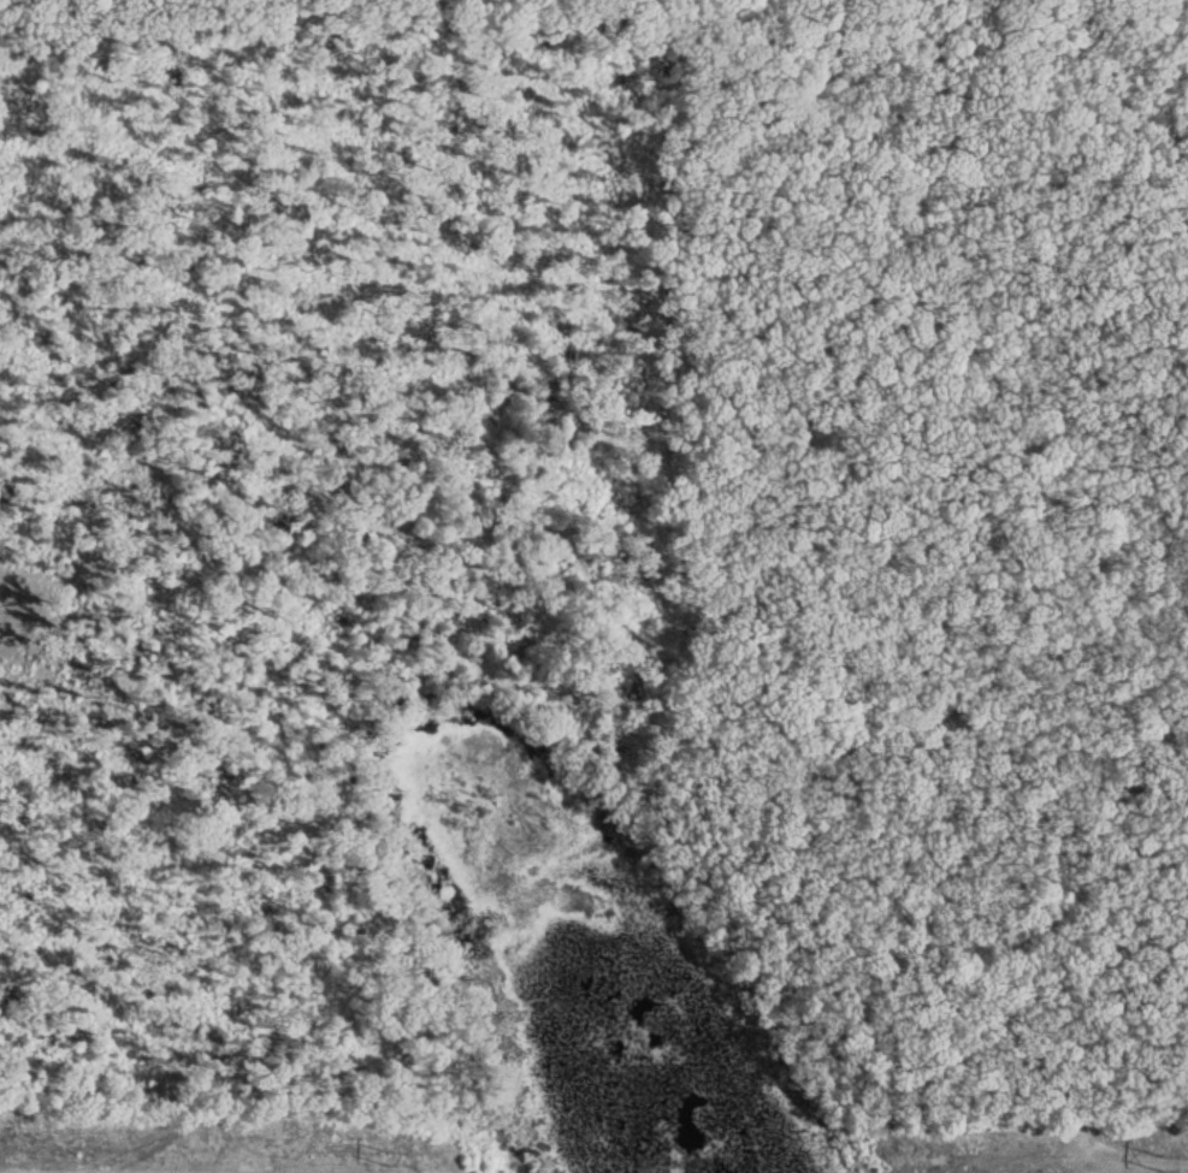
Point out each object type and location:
power tower: (386, 1157)
power tower: (1162, 1162)

